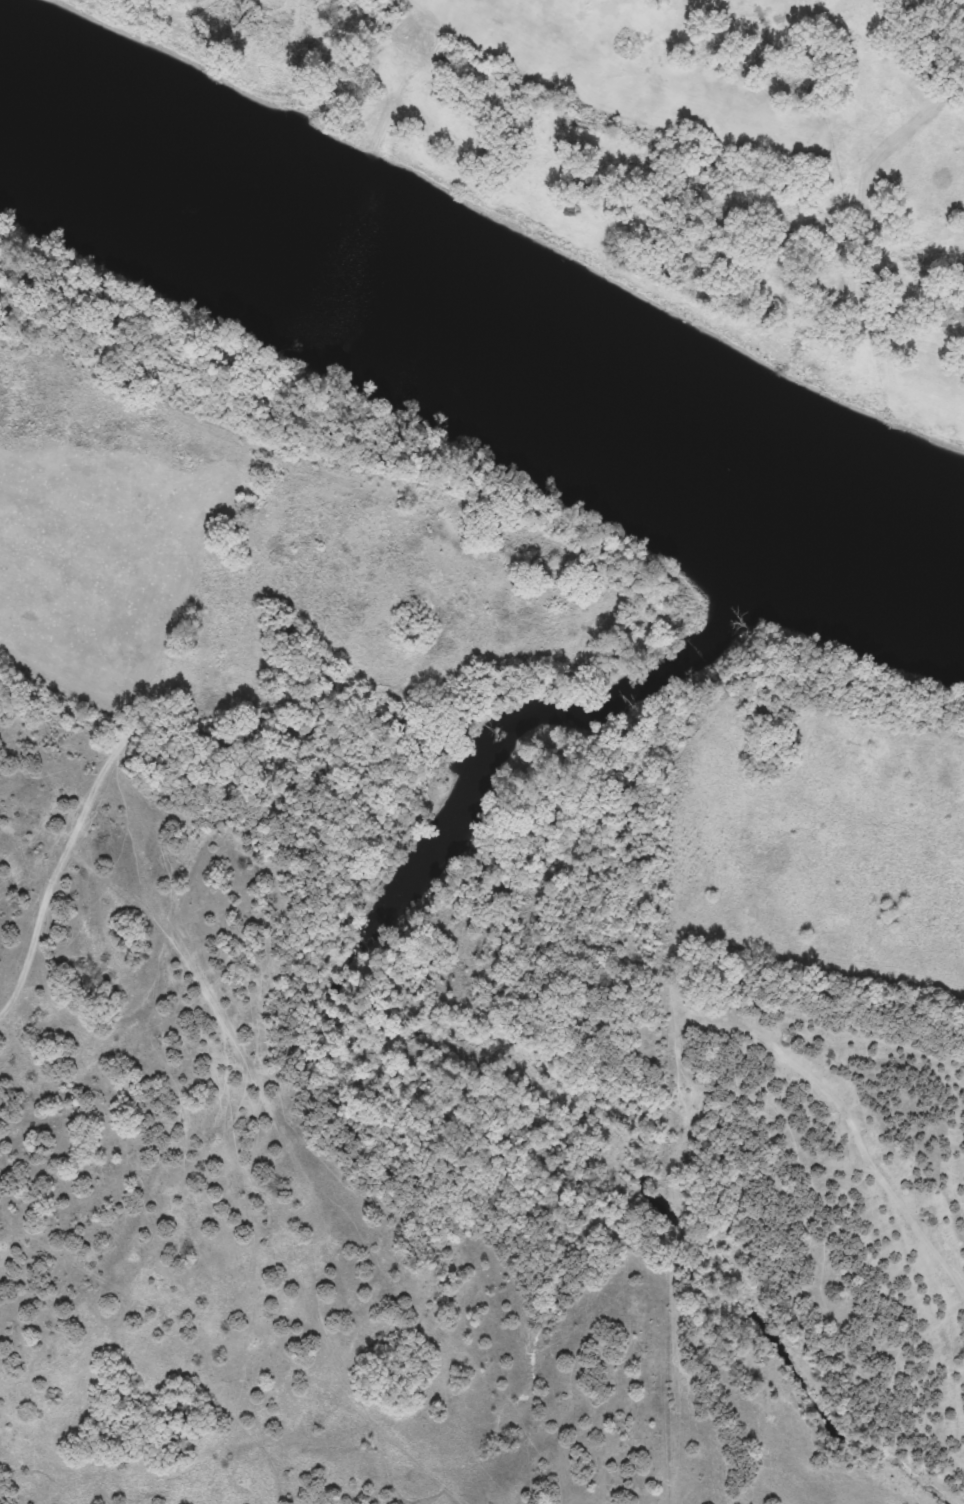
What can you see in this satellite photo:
road: (160, 2)
river: (481, 329)
road: (76, 902)

